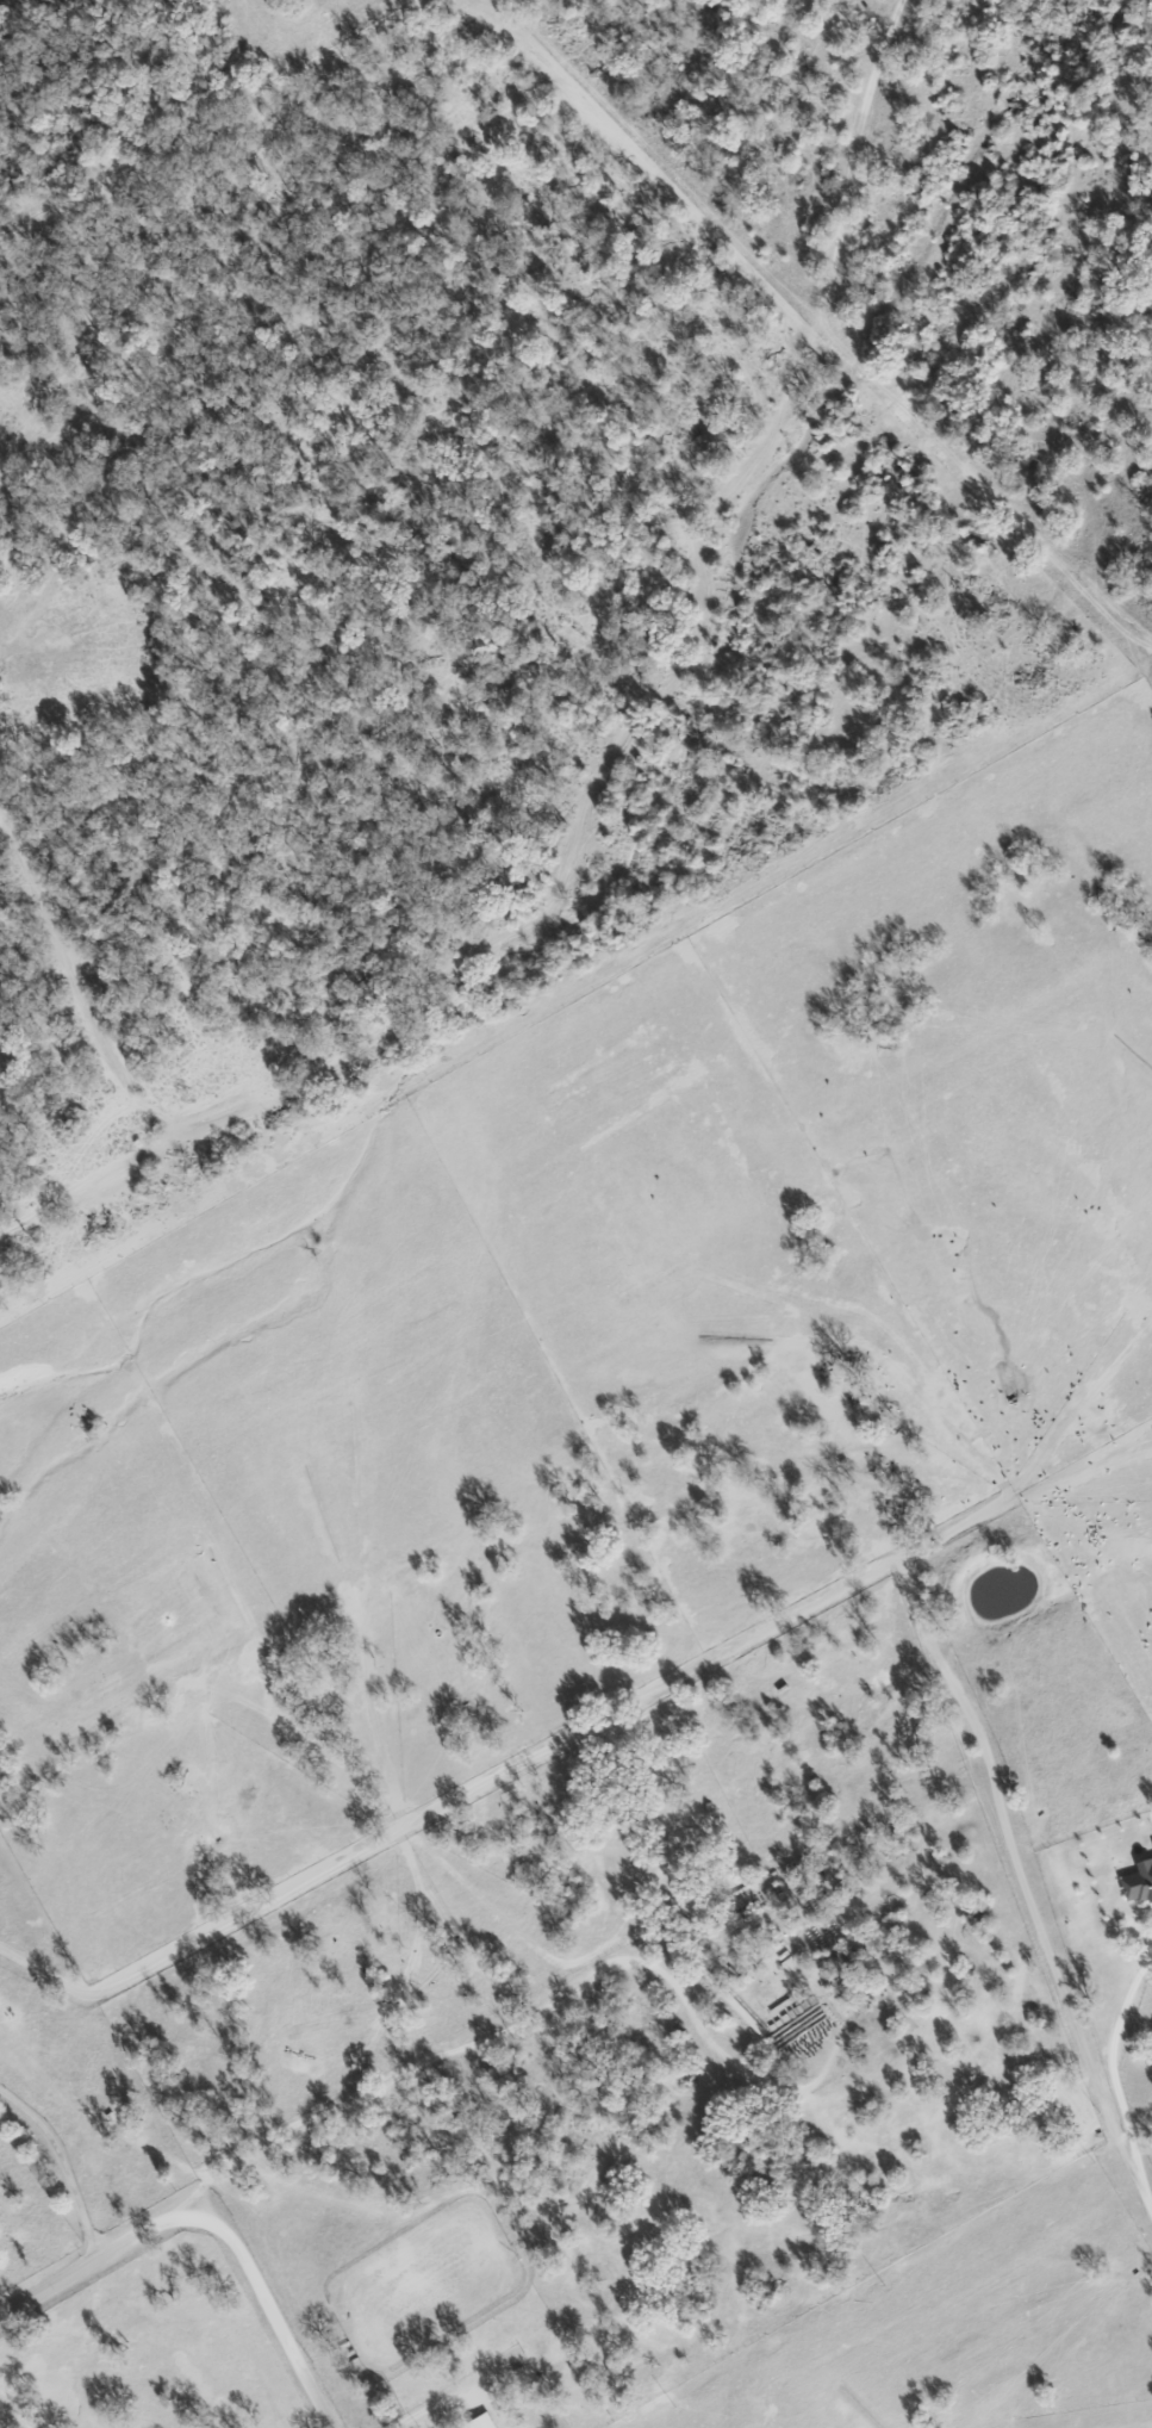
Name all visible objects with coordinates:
building: (1150, 1817)
building: (1151, 1845)
building: (1137, 1883)
road: (550, 2006)
road: (1114, 2078)
road: (63, 2165)
road: (217, 2218)
road: (436, 2405)
building: (479, 2422)

